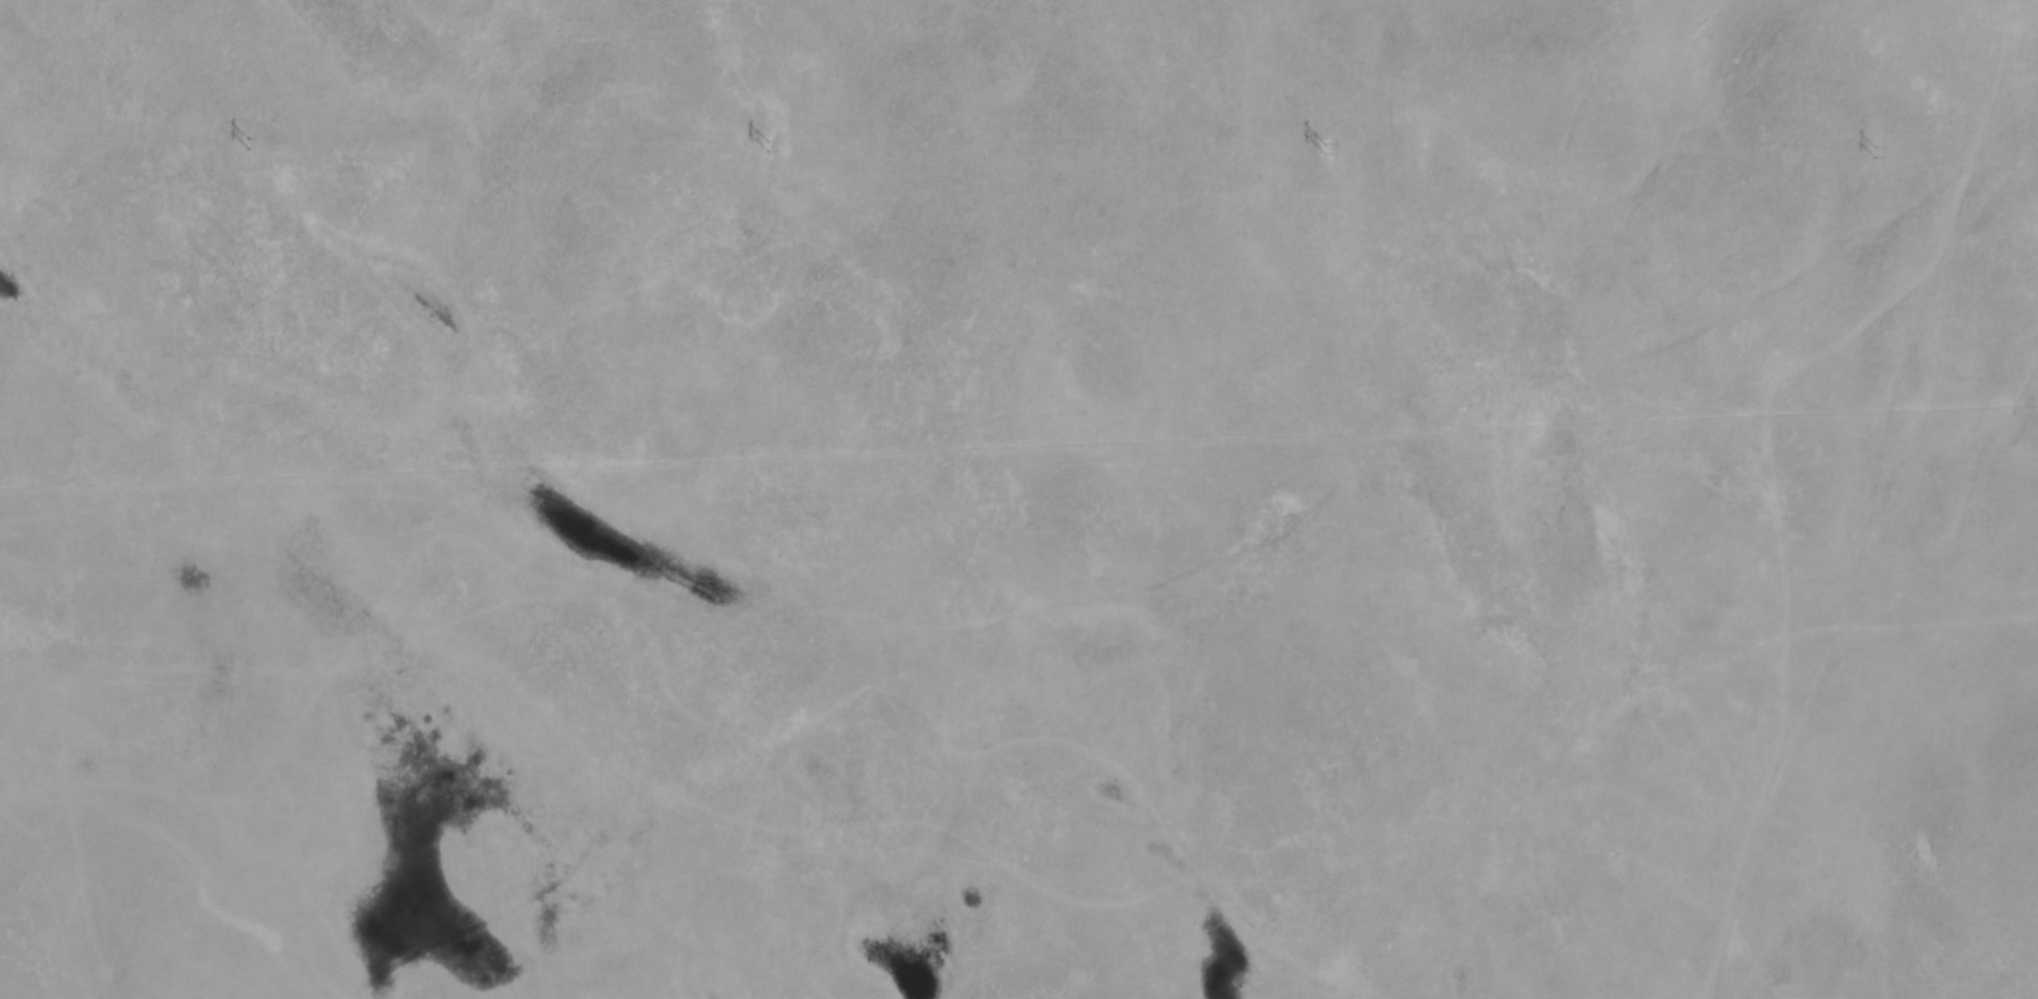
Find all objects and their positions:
power tower: (246, 143)
power tower: (767, 146)
power tower: (1324, 149)
power tower: (1874, 152)

